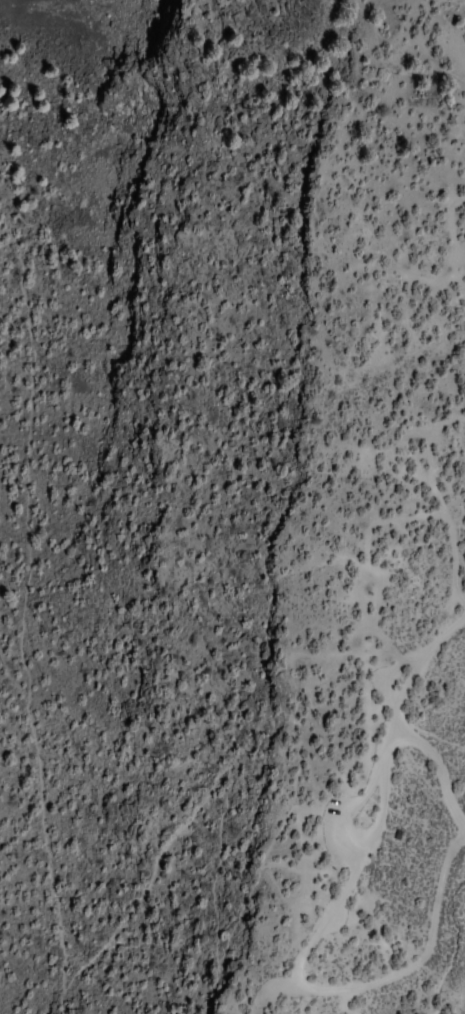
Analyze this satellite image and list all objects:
road: (378, 263)
road: (52, 829)
road: (454, 875)

